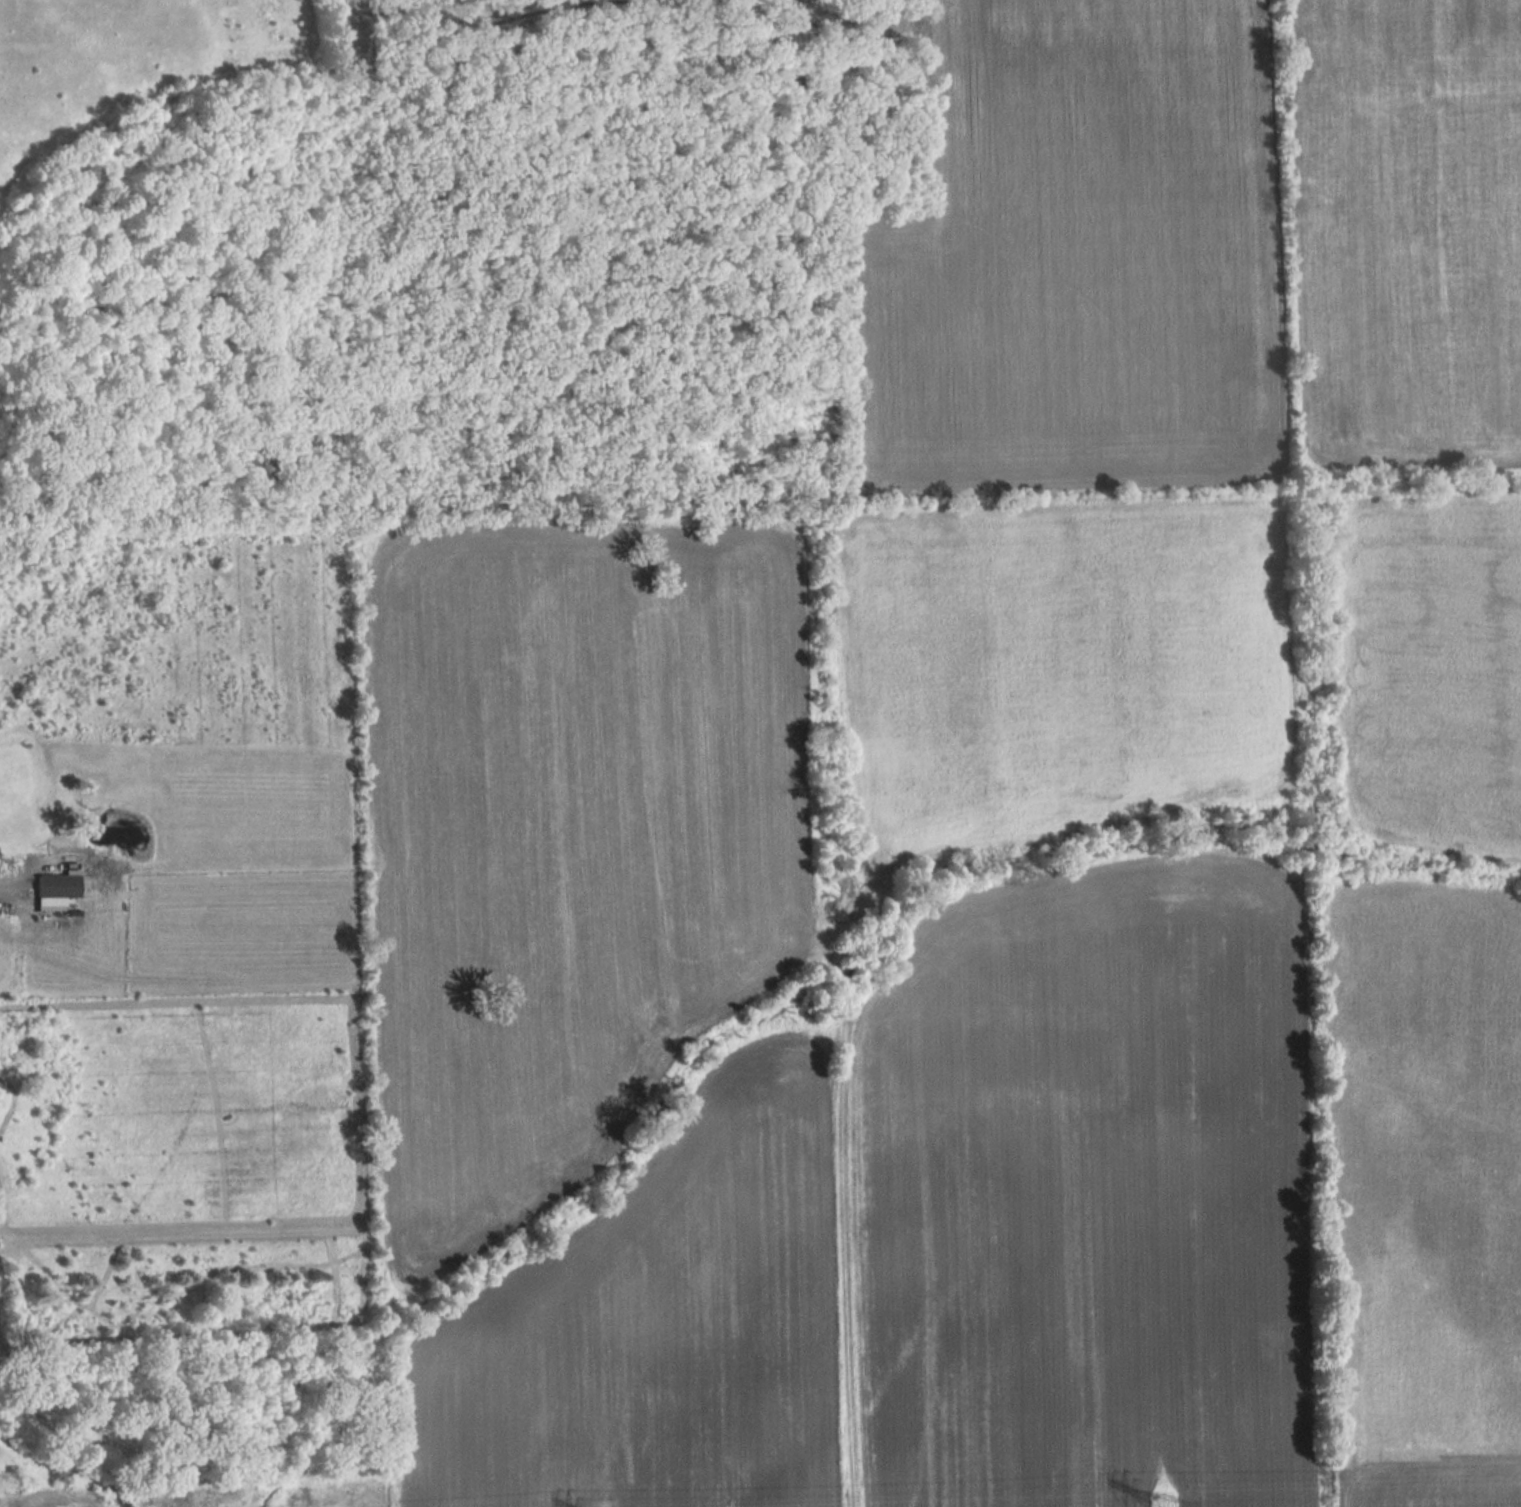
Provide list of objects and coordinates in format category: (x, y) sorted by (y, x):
building: (57, 886)

